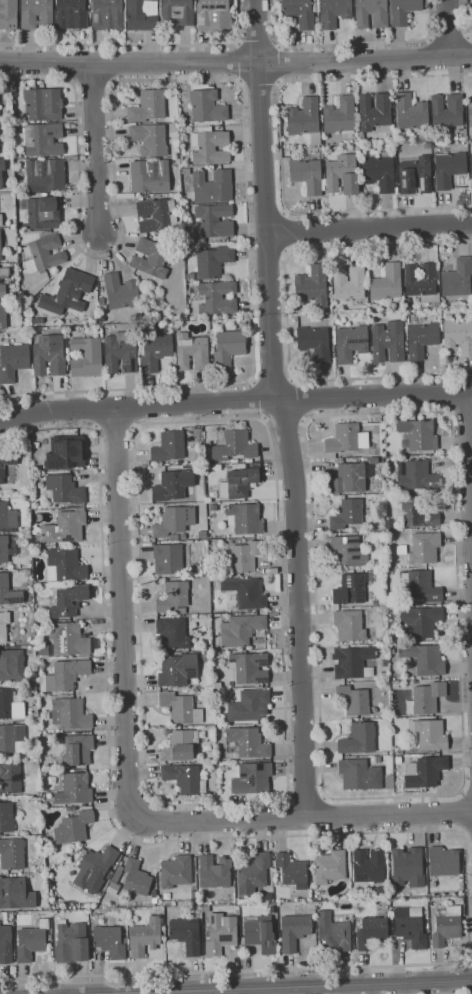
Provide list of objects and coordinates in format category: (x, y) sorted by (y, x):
road: (430, 5)
building: (403, 11)
building: (177, 12)
building: (300, 12)
building: (334, 12)
building: (371, 13)
building: (36, 14)
building: (71, 14)
building: (107, 14)
building: (143, 14)
building: (8, 15)
building: (213, 15)
road: (465, 18)
road: (451, 27)
road: (449, 36)
road: (344, 44)
road: (141, 45)
road: (468, 53)
road: (432, 55)
road: (239, 62)
road: (236, 63)
road: (278, 64)
road: (35, 79)
road: (259, 81)
building: (13, 89)
road: (243, 101)
building: (204, 104)
building: (42, 105)
building: (148, 106)
building: (447, 110)
building: (374, 111)
building: (411, 112)
building: (470, 112)
building: (340, 116)
building: (304, 117)
building: (0, 138)
building: (361, 138)
building: (43, 139)
building: (150, 139)
road: (280, 143)
building: (210, 146)
road: (96, 149)
building: (18, 154)
building: (471, 164)
building: (449, 168)
building: (1, 170)
building: (186, 171)
building: (379, 173)
building: (45, 174)
building: (150, 175)
building: (307, 175)
building: (342, 175)
building: (416, 175)
building: (212, 186)
building: (146, 196)
building: (0, 210)
building: (42, 212)
building: (157, 215)
building: (1, 219)
building: (215, 220)
road: (369, 228)
road: (286, 232)
building: (157, 238)
building: (0, 250)
road: (268, 250)
building: (46, 251)
building: (151, 258)
building: (213, 261)
building: (329, 271)
building: (4, 273)
building: (190, 277)
building: (458, 278)
building: (422, 281)
building: (349, 283)
building: (387, 284)
building: (312, 286)
building: (73, 289)
building: (2, 290)
building: (120, 292)
building: (154, 292)
building: (218, 298)
building: (101, 300)
building: (408, 304)
building: (432, 309)
road: (287, 313)
building: (3, 315)
building: (176, 328)
building: (25, 332)
building: (458, 336)
building: (421, 338)
building: (315, 342)
building: (388, 342)
building: (351, 343)
building: (229, 347)
building: (155, 351)
building: (192, 351)
building: (120, 352)
building: (49, 355)
building: (86, 357)
building: (13, 361)
road: (292, 380)
road: (254, 382)
road: (273, 382)
road: (448, 393)
road: (260, 400)
road: (296, 400)
road: (235, 401)
road: (281, 407)
road: (460, 412)
road: (283, 418)
road: (264, 419)
road: (303, 421)
road: (115, 430)
building: (198, 433)
building: (418, 434)
building: (346, 438)
building: (199, 441)
road: (470, 445)
building: (169, 446)
building: (235, 446)
building: (65, 452)
building: (374, 460)
building: (7, 462)
building: (255, 464)
building: (179, 466)
building: (239, 466)
building: (416, 475)
building: (349, 478)
building: (239, 483)
building: (174, 485)
building: (64, 489)
building: (415, 511)
building: (348, 513)
building: (8, 517)
building: (244, 518)
building: (174, 520)
building: (379, 525)
building: (62, 528)
building: (202, 534)
building: (183, 536)
building: (173, 537)
building: (177, 541)
building: (425, 548)
building: (6, 549)
building: (402, 549)
building: (348, 551)
building: (244, 557)
building: (168, 559)
building: (65, 565)
building: (64, 585)
building: (423, 586)
building: (350, 589)
building: (9, 591)
building: (246, 592)
building: (173, 596)
building: (69, 601)
building: (181, 611)
road: (120, 612)
building: (421, 620)
building: (4, 625)
building: (349, 625)
building: (41, 629)
building: (241, 629)
building: (172, 633)
building: (68, 638)
building: (359, 645)
building: (43, 650)
building: (392, 652)
building: (424, 659)
building: (353, 662)
building: (385, 663)
building: (12, 665)
building: (250, 667)
building: (178, 669)
building: (64, 675)
building: (385, 684)
building: (395, 684)
building: (217, 685)
building: (184, 690)
building: (426, 698)
building: (353, 700)
building: (11, 704)
building: (250, 705)
building: (180, 708)
building: (70, 713)
building: (385, 713)
building: (430, 734)
building: (12, 738)
building: (359, 738)
building: (247, 742)
building: (180, 745)
building: (78, 749)
building: (398, 750)
building: (384, 753)
building: (210, 754)
building: (377, 759)
building: (398, 760)
building: (224, 768)
building: (425, 771)
building: (359, 775)
building: (10, 778)
building: (185, 778)
building: (252, 778)
building: (390, 781)
road: (287, 787)
building: (74, 789)
road: (467, 791)
road: (325, 794)
road: (305, 796)
building: (231, 798)
building: (69, 808)
road: (462, 811)
road: (324, 815)
road: (289, 816)
road: (302, 816)
building: (6, 817)
building: (74, 827)
road: (336, 833)
road: (467, 833)
building: (12, 853)
building: (444, 861)
building: (274, 863)
building: (368, 866)
building: (409, 866)
building: (329, 867)
building: (95, 869)
building: (292, 870)
building: (176, 871)
building: (214, 872)
building: (110, 874)
building: (254, 874)
building: (116, 876)
building: (136, 878)
building: (380, 891)
building: (15, 894)
building: (460, 900)
building: (272, 909)
building: (410, 926)
building: (447, 926)
building: (389, 928)
building: (294, 931)
building: (371, 932)
building: (220, 933)
building: (334, 933)
building: (186, 934)
building: (261, 934)
building: (145, 936)
building: (31, 941)
building: (110, 941)
building: (71, 943)
building: (6, 945)
road: (470, 960)
road: (470, 969)
road: (269, 987)

